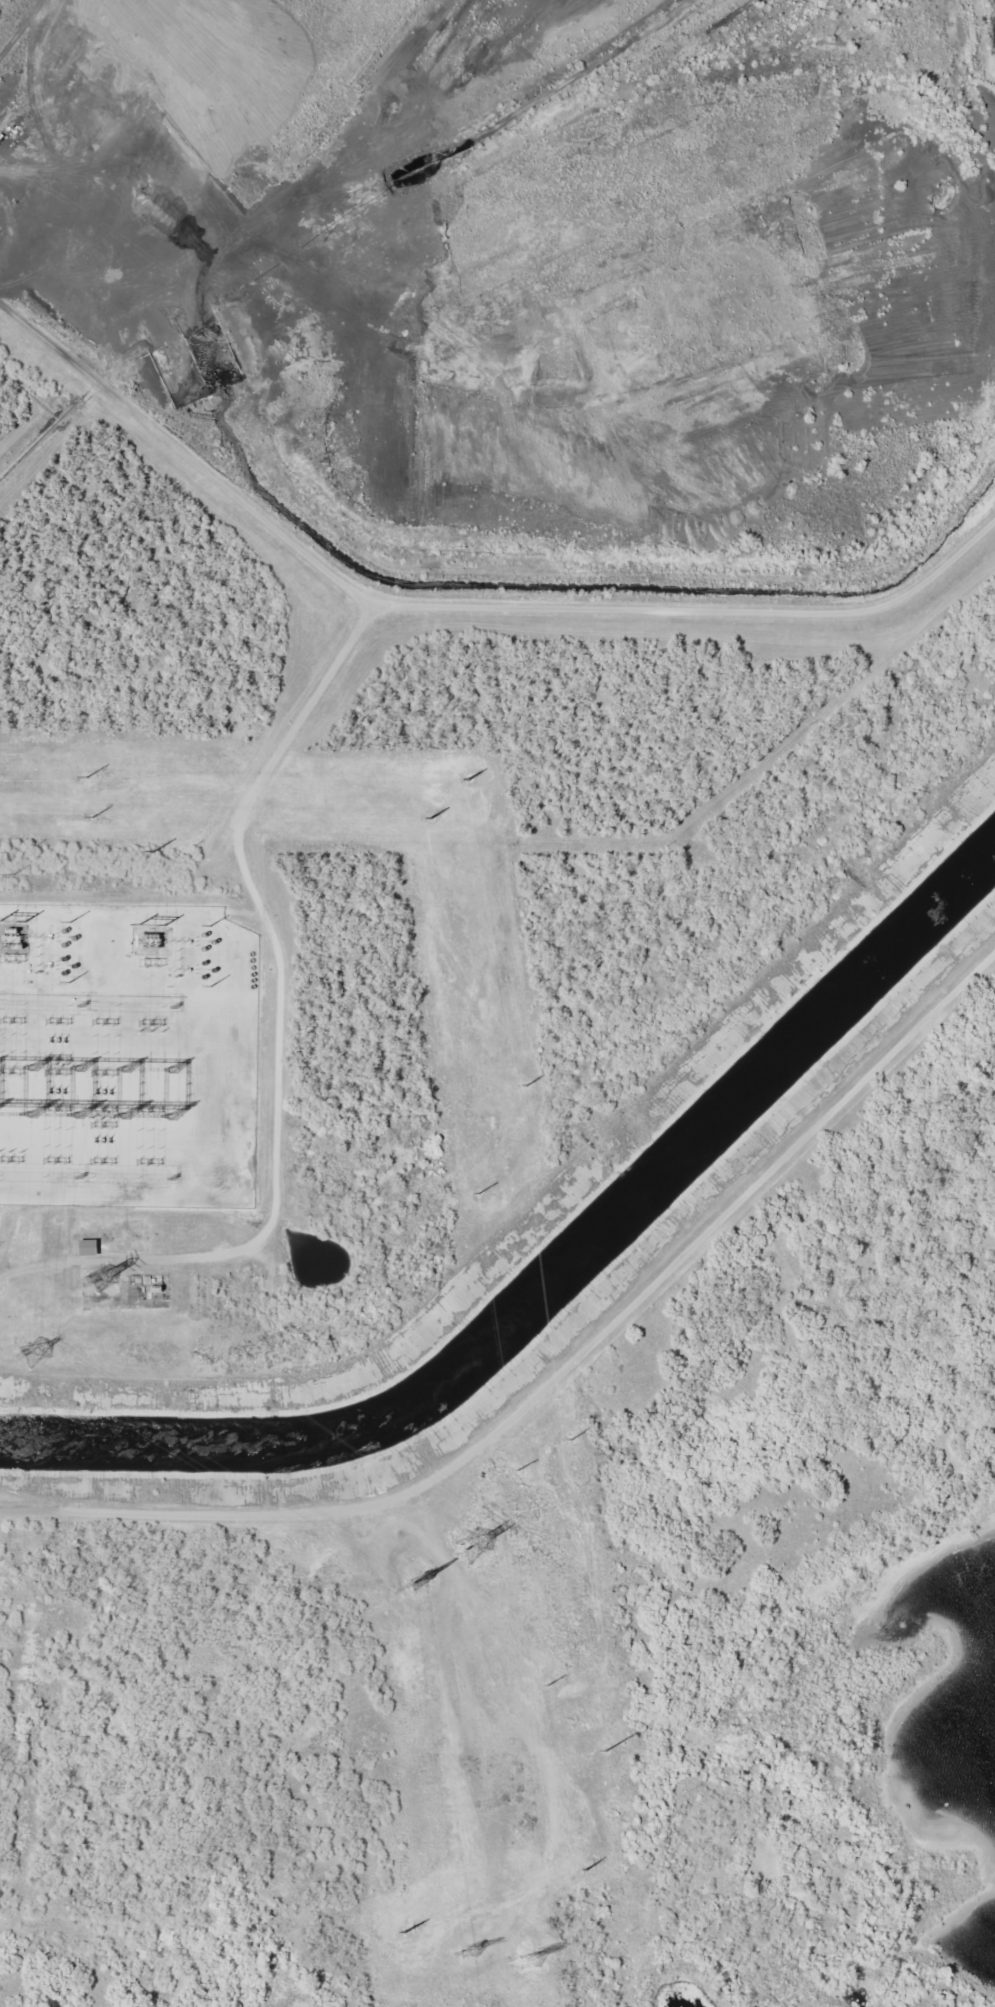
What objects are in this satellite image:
road: (183, 451)
power plant: (452, 627)
road: (293, 723)
power tower: (120, 814)
power tower: (483, 822)
power substation: (125, 1055)
power tower: (518, 1097)
building: (87, 1248)
power tower: (100, 1279)
power tower: (32, 1350)
road: (556, 1376)
power tower: (567, 1460)
power tower: (472, 1545)
power tower: (418, 1581)
power plant: (544, 1616)
power tower: (599, 1698)
power tower: (468, 1953)
power tower: (528, 1960)

